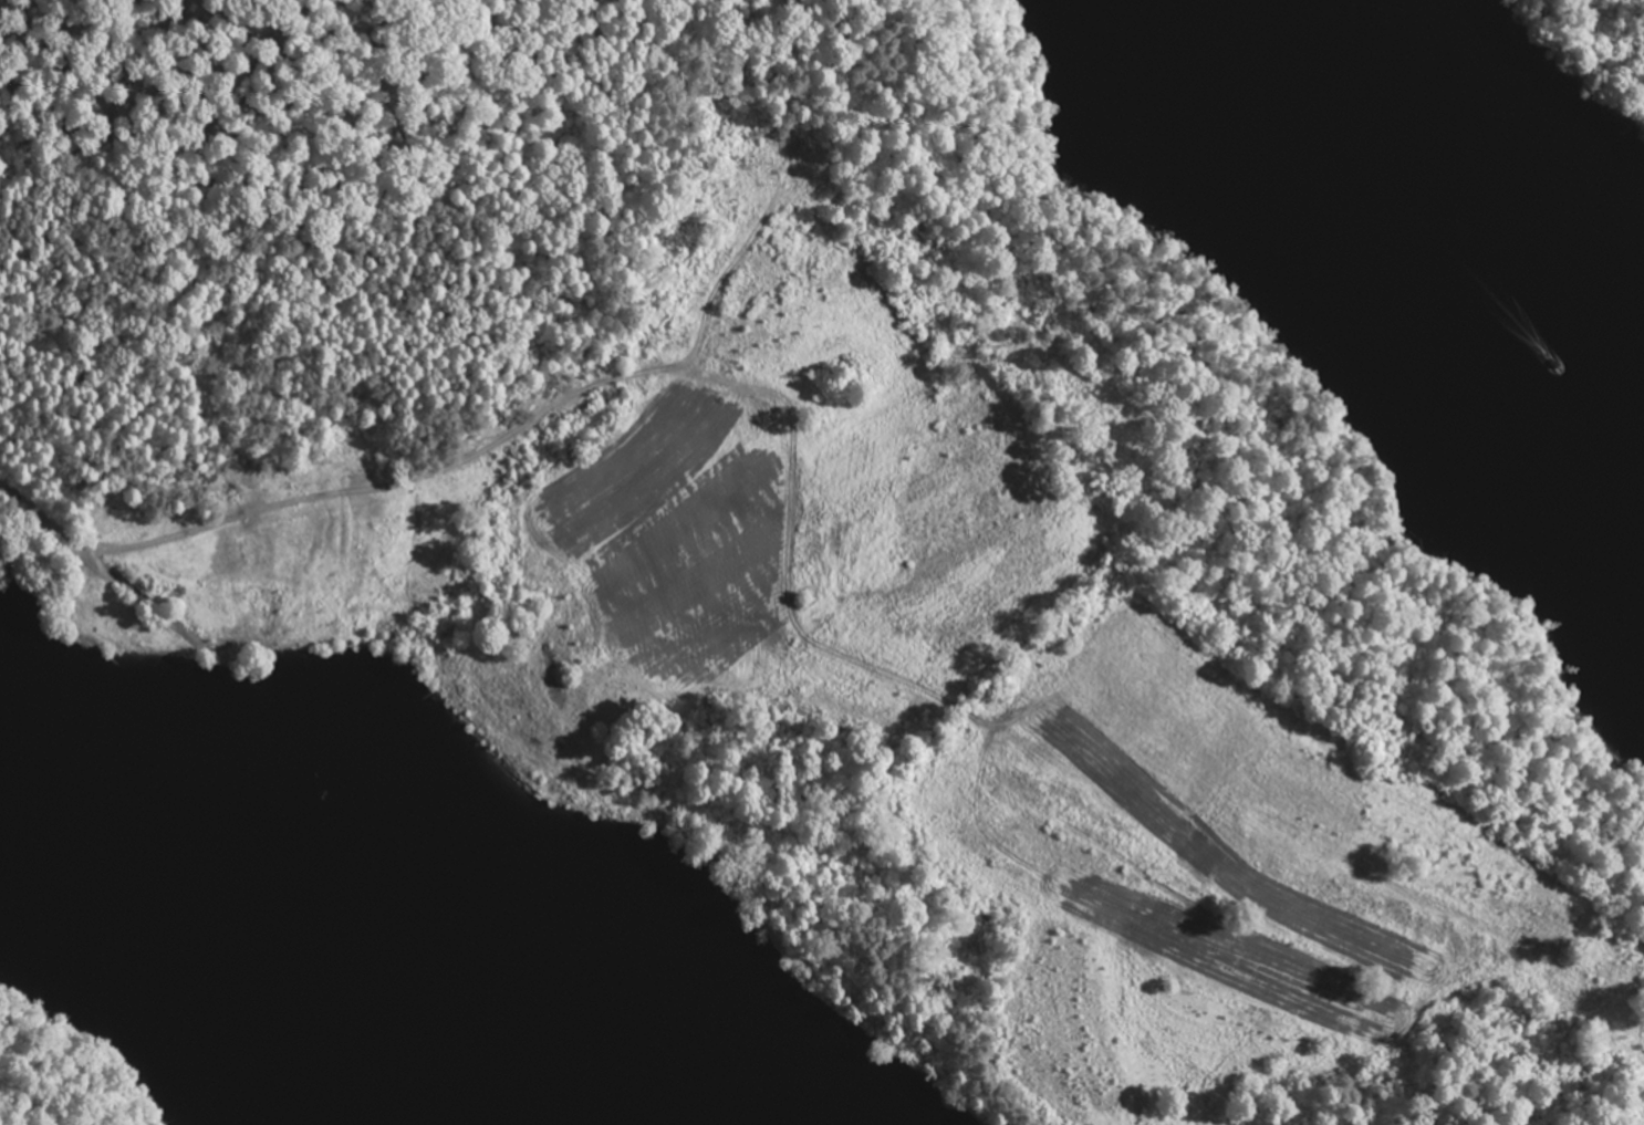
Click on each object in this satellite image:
park: (1592, 46)
river: (1453, 252)
road: (108, 572)
river: (289, 947)

